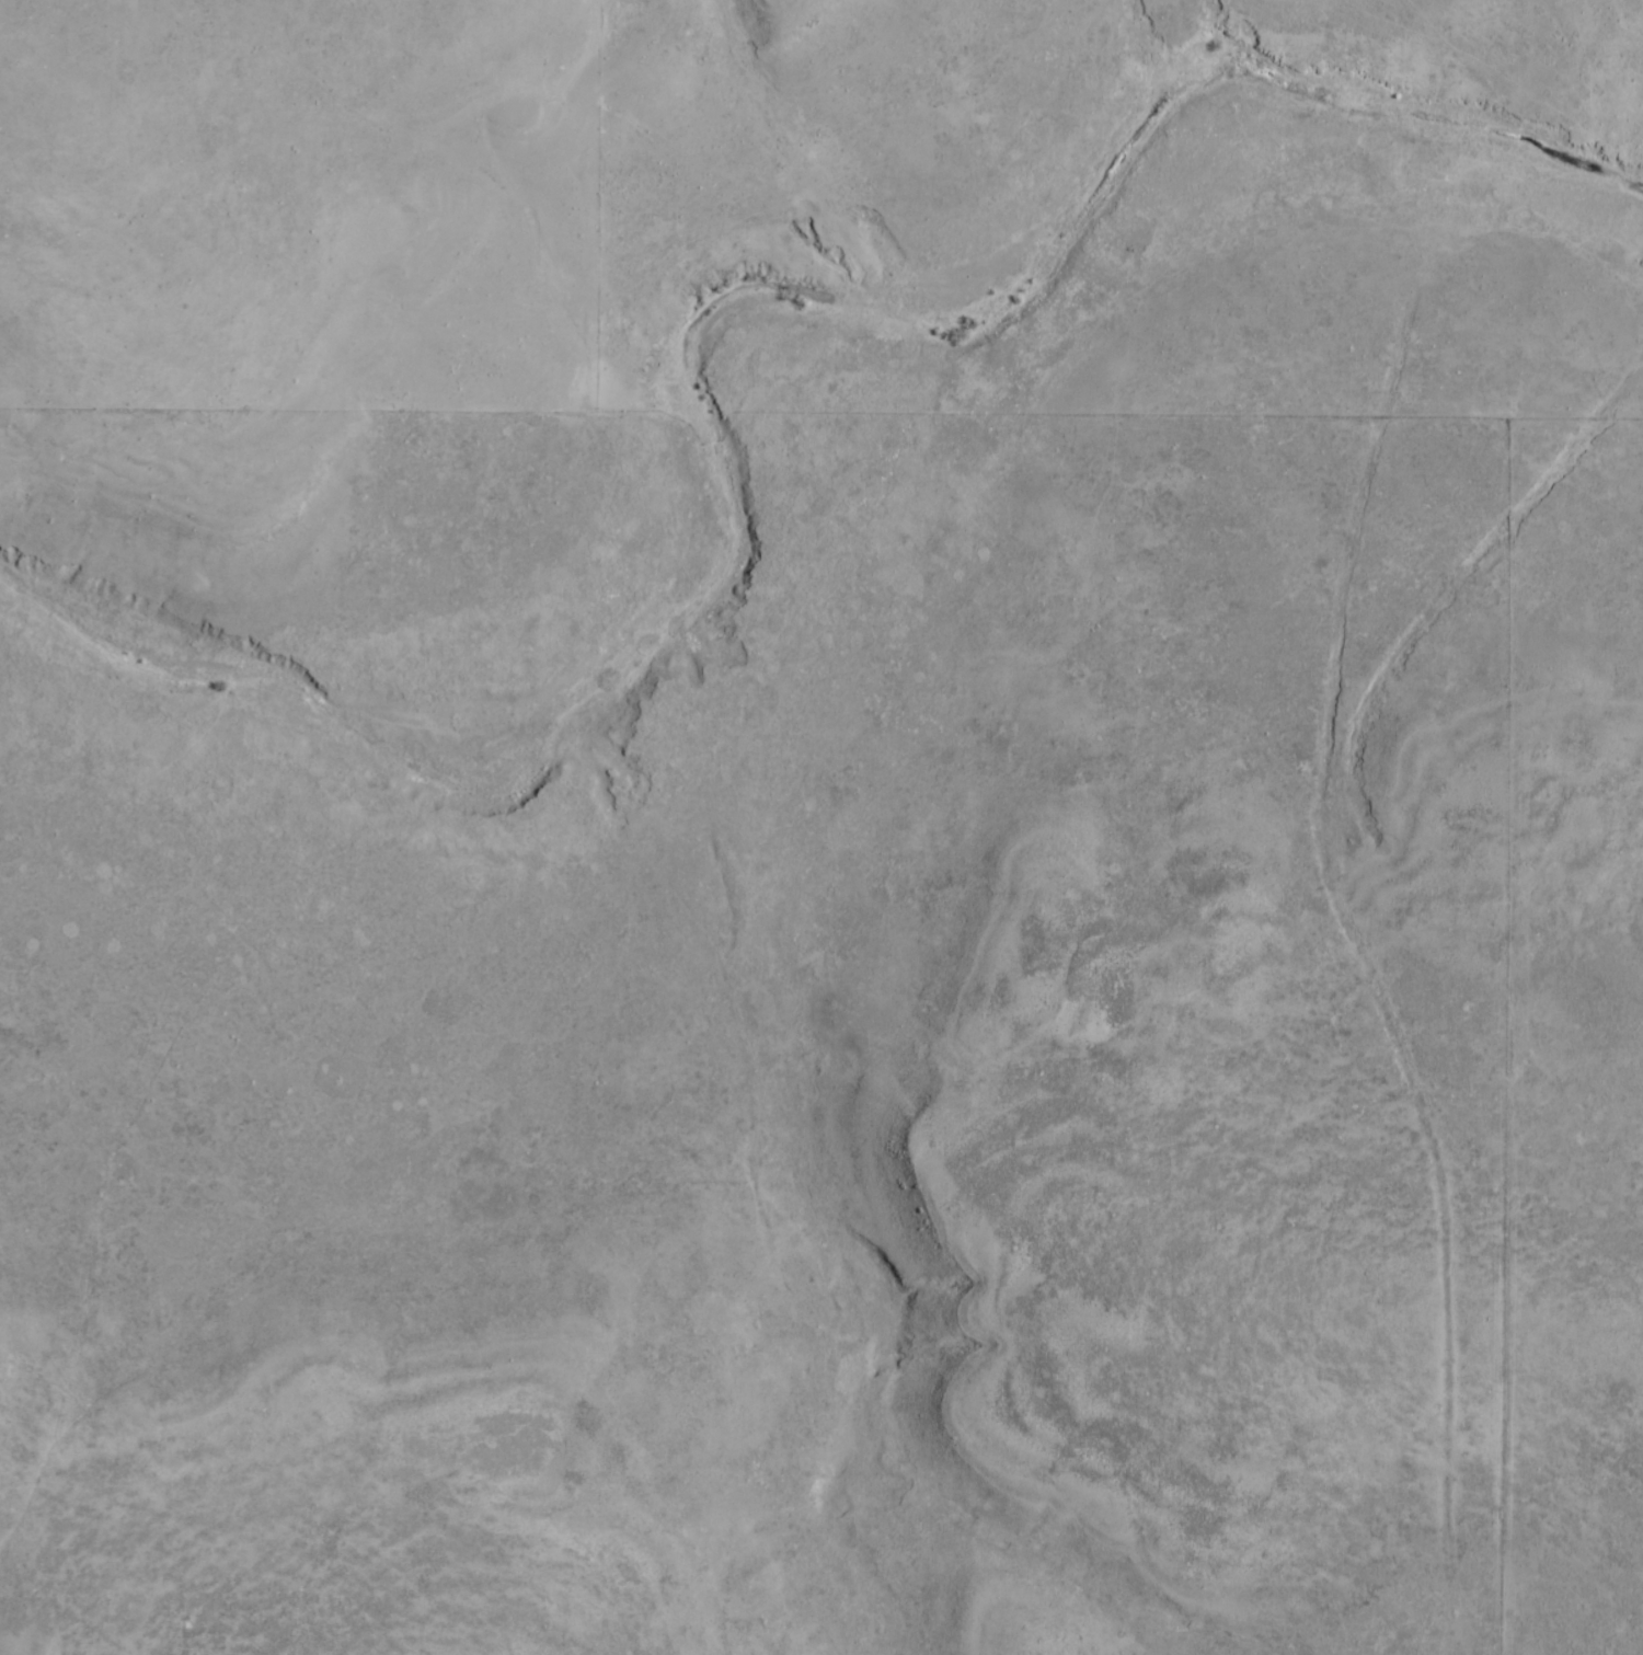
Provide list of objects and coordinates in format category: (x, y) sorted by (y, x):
road: (1621, 43)
road: (1305, 915)

